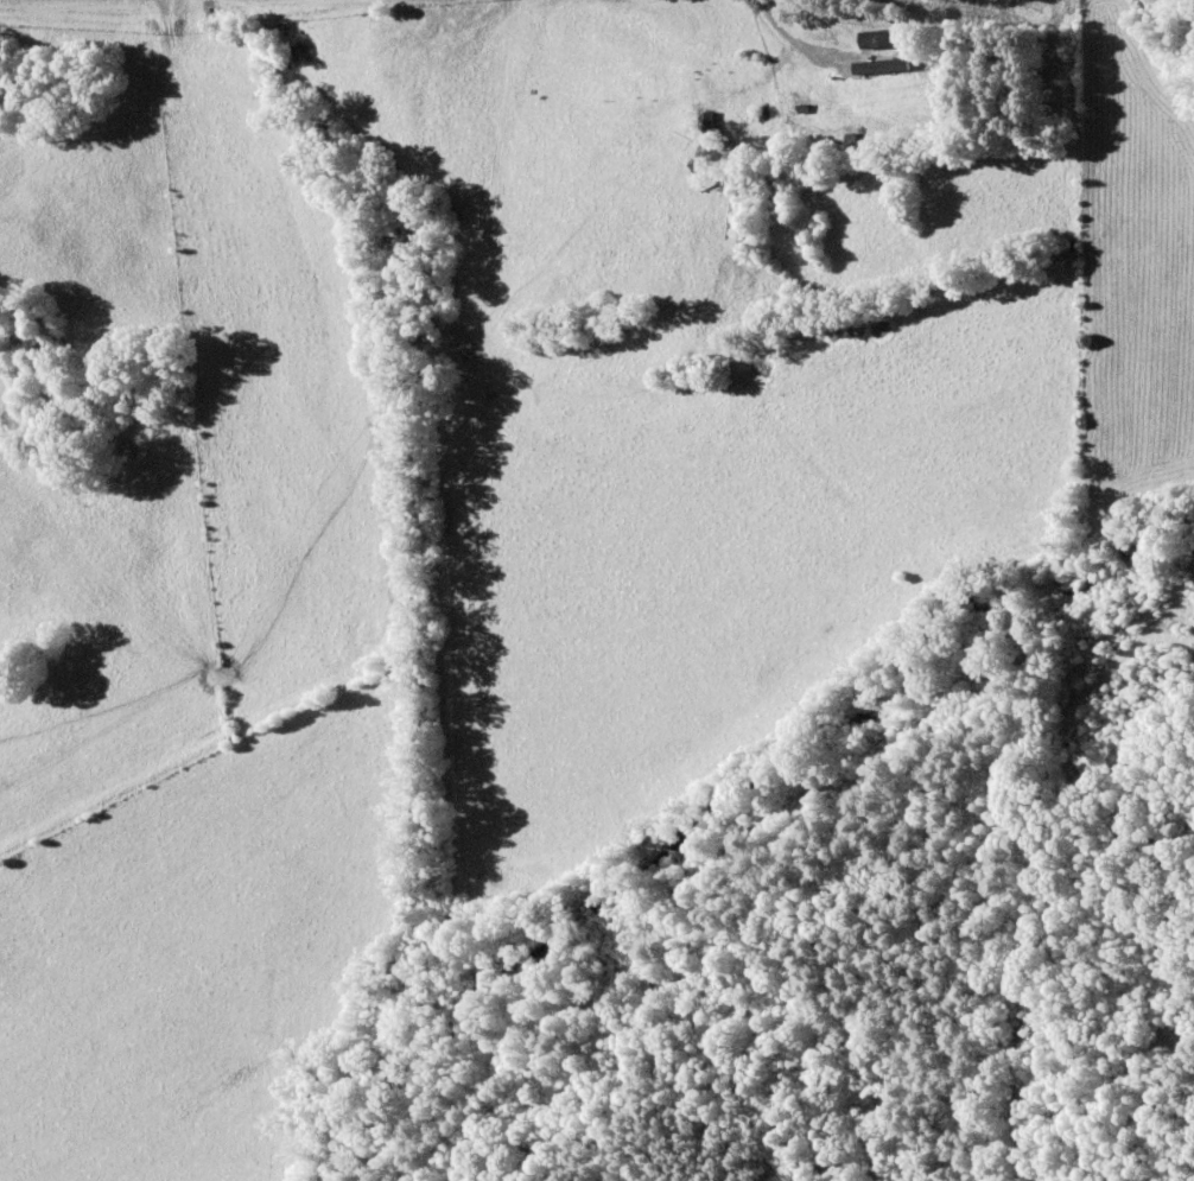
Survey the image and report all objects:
building: (878, 40)
building: (705, 123)

